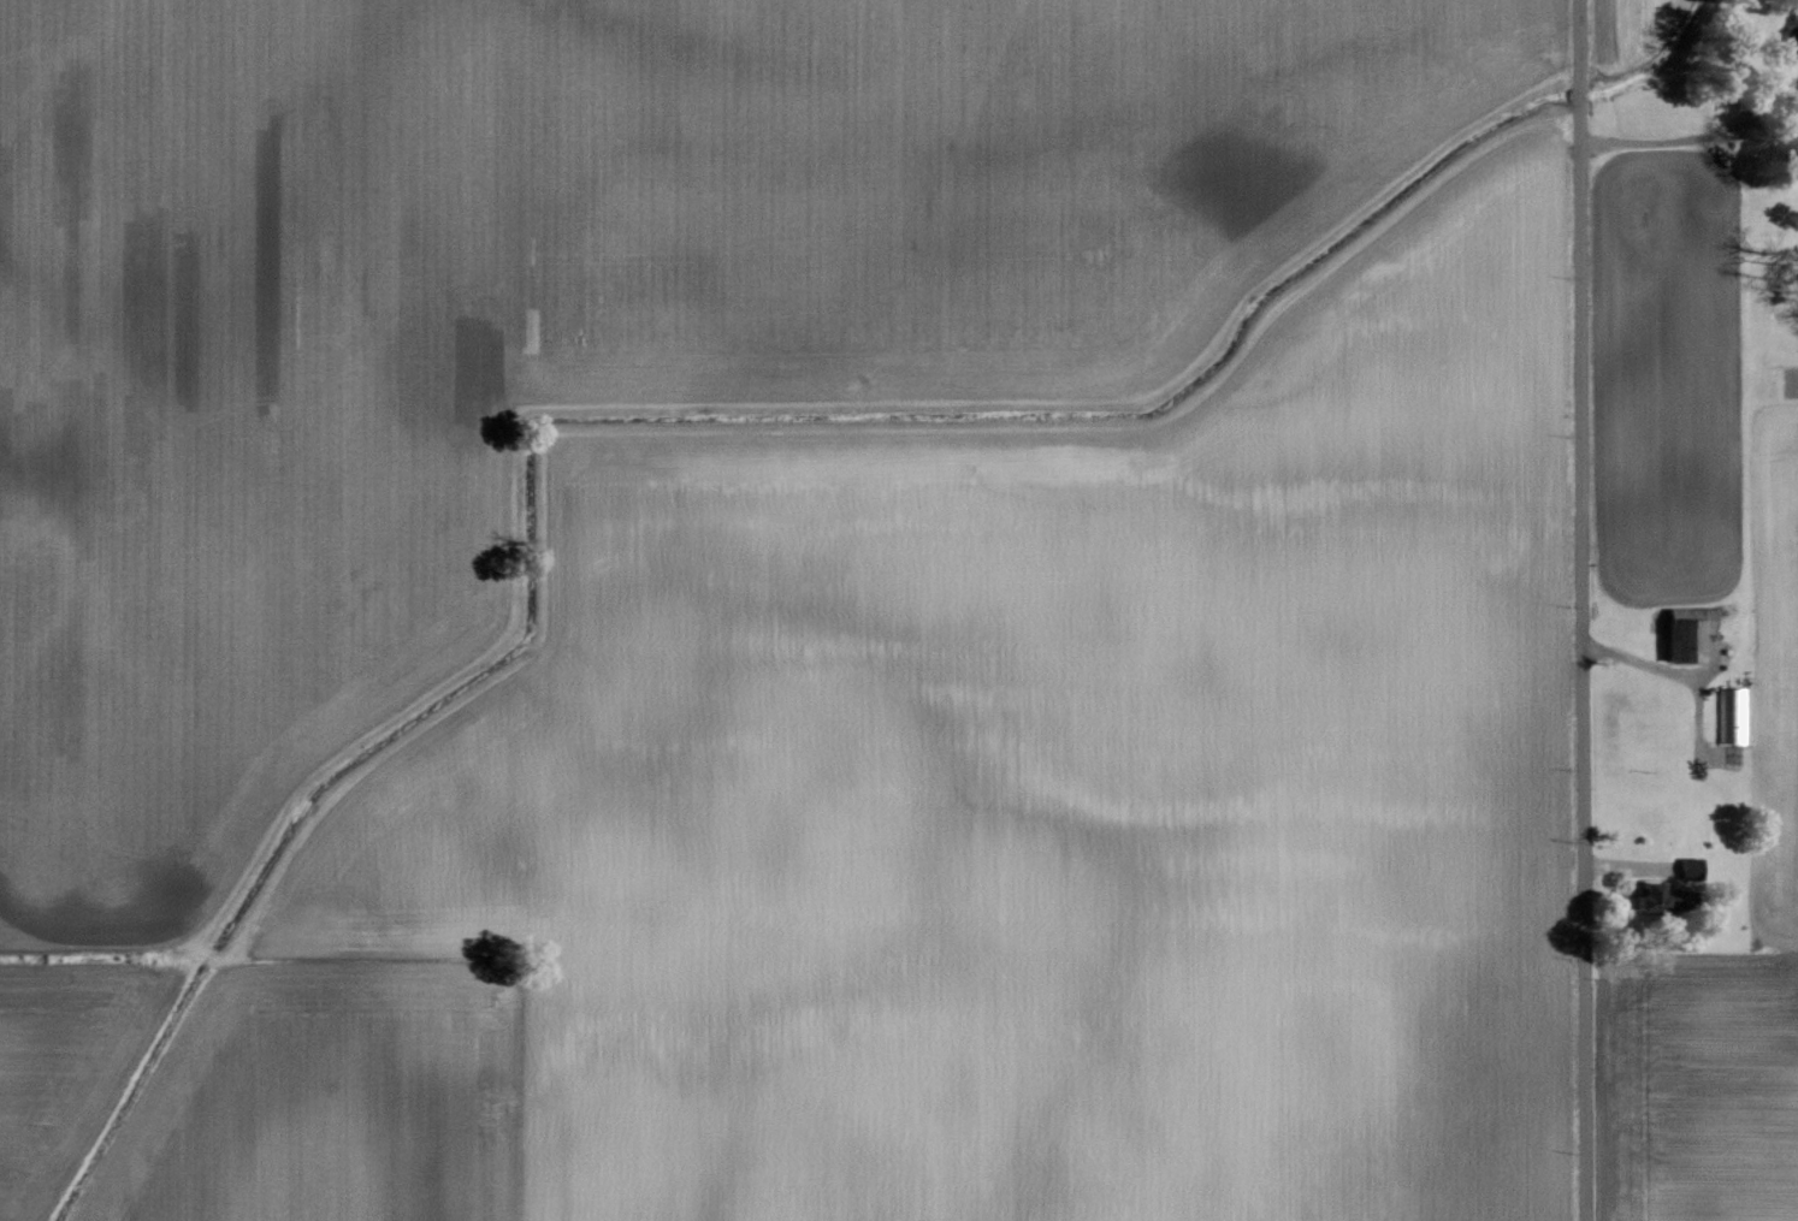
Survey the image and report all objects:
building: (1791, 37)
road: (1705, 137)
road: (1579, 610)
building: (1688, 630)
building: (1734, 716)
building: (1655, 897)

